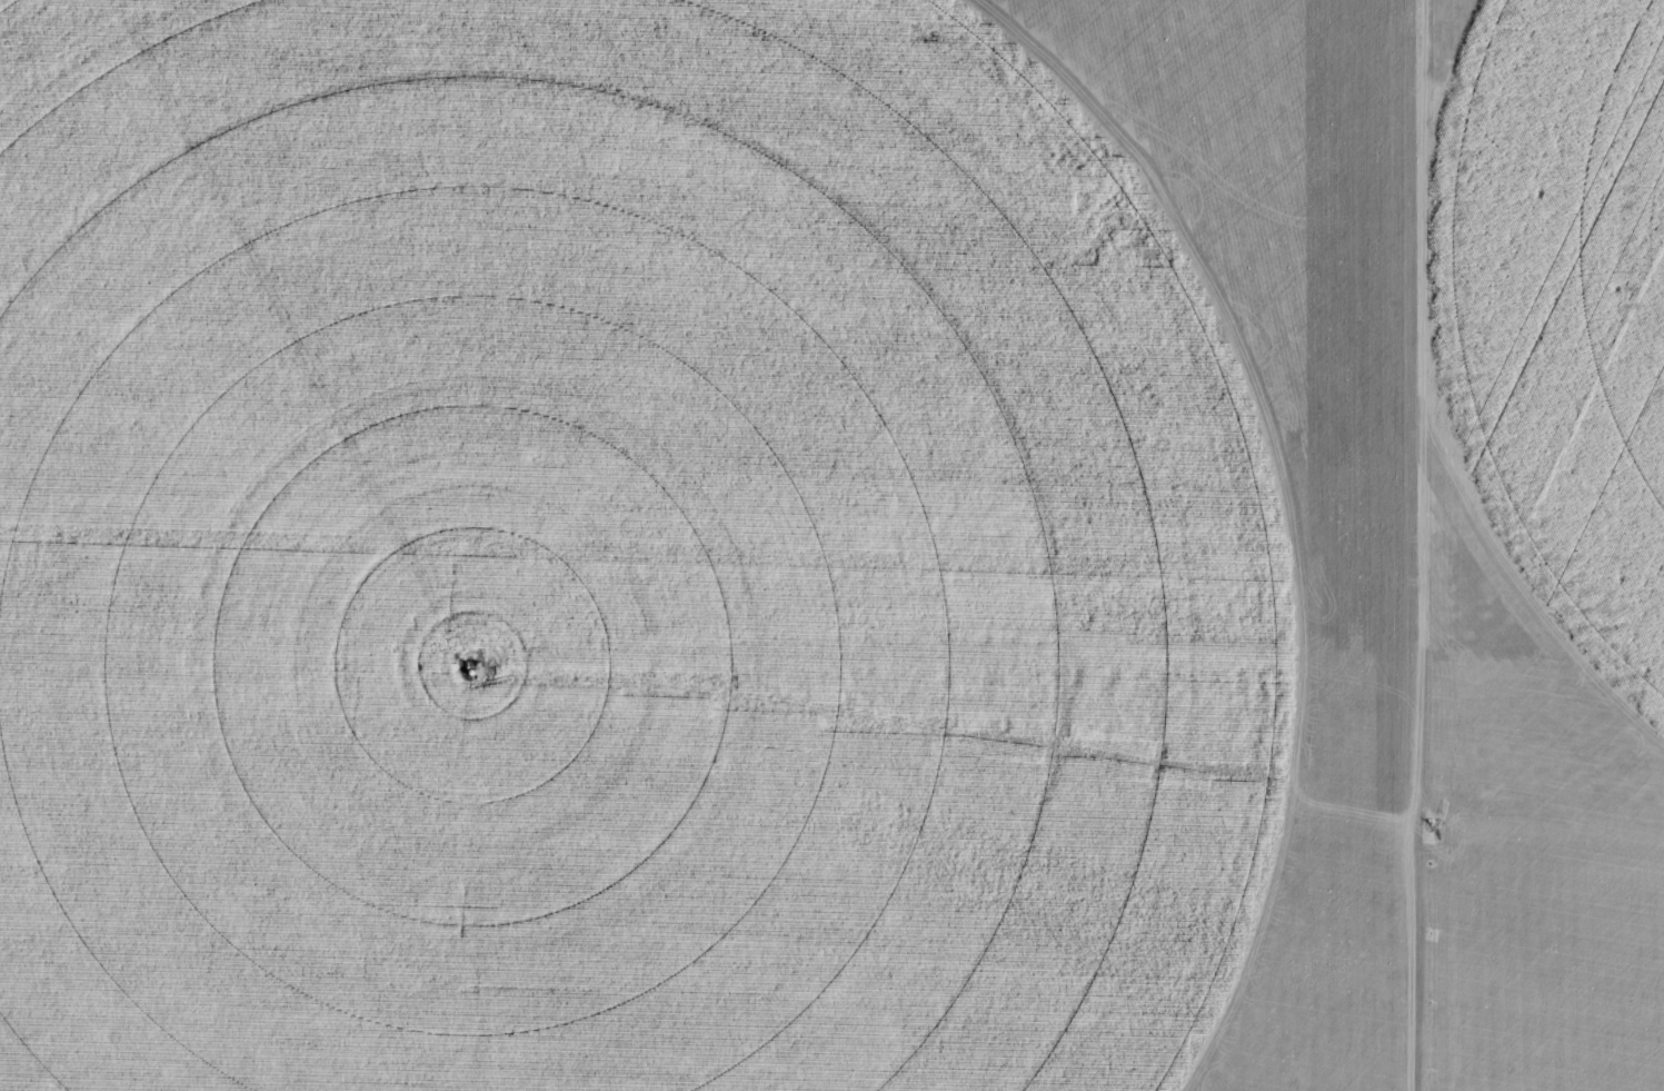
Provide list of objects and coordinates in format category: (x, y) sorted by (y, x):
road: (1436, 545)

